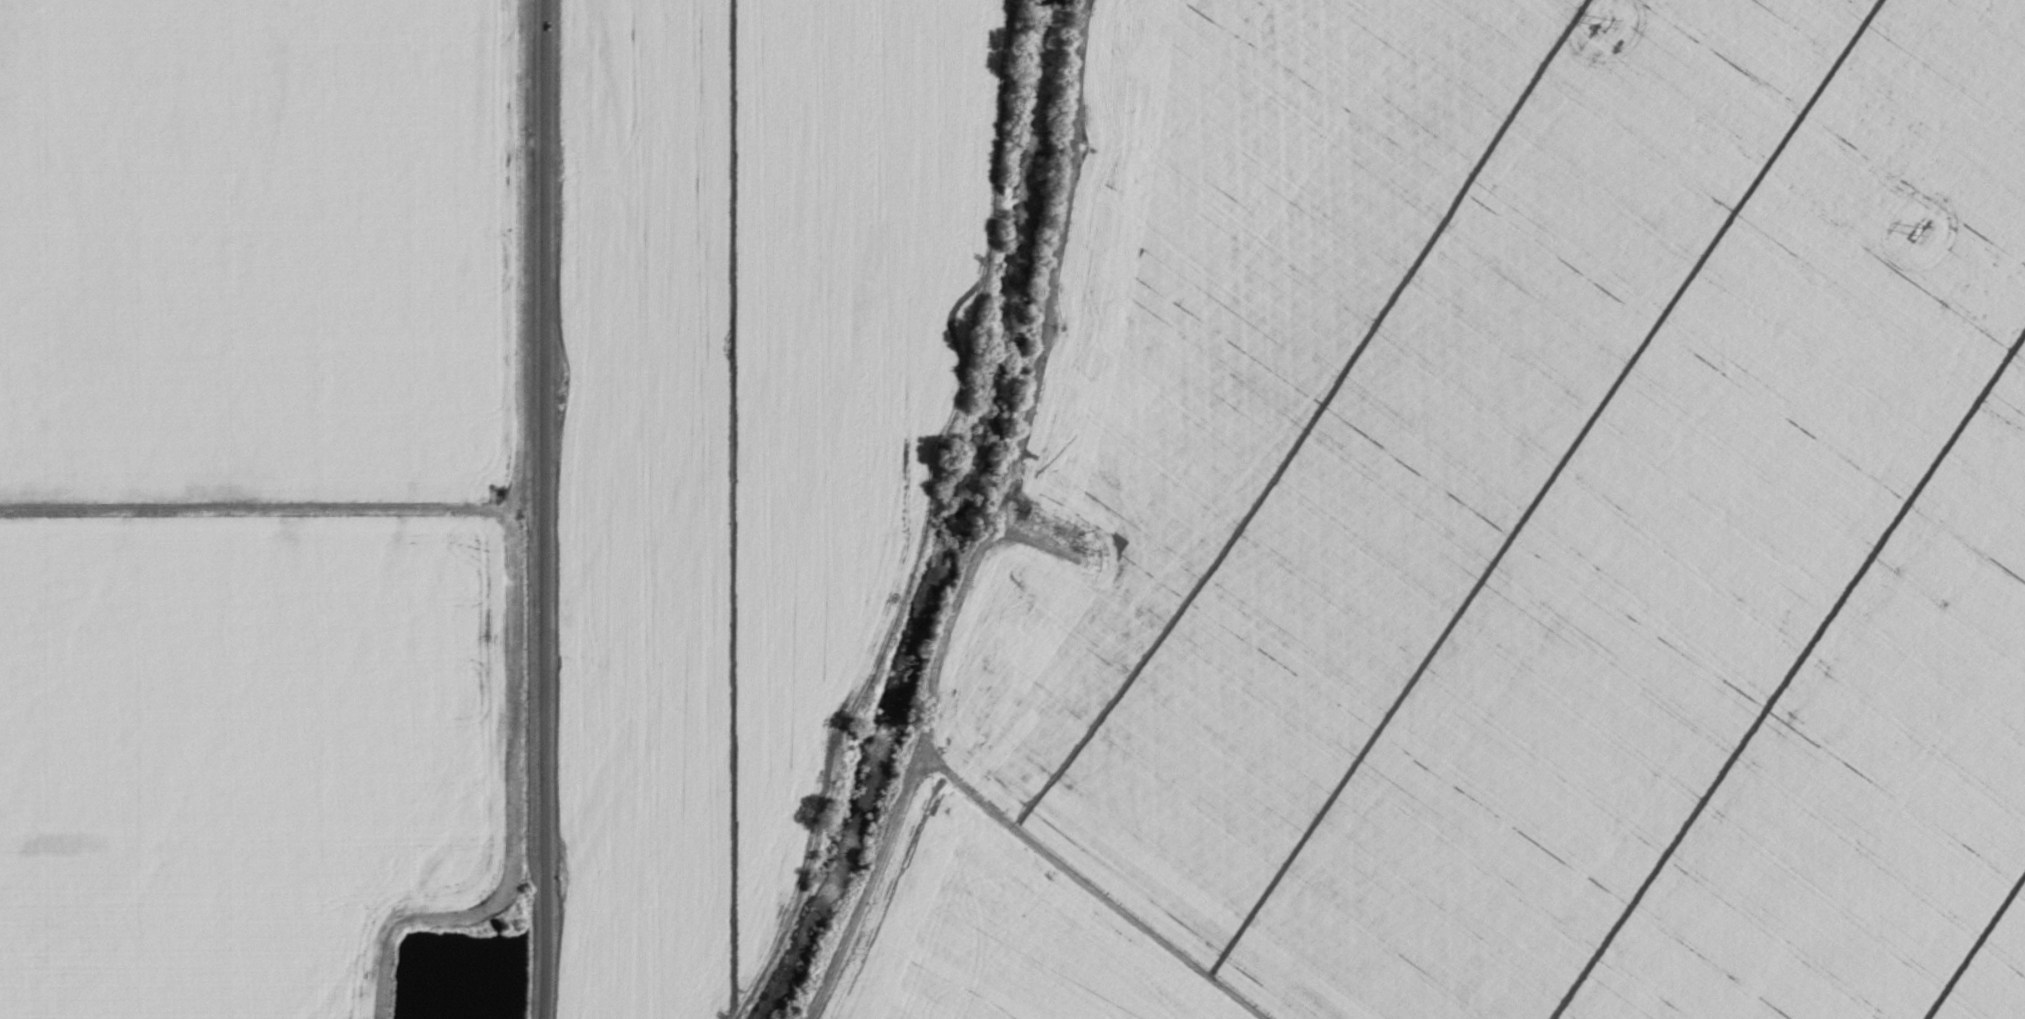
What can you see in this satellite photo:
power tower: (1606, 20)
power tower: (1914, 228)
road: (536, 509)

